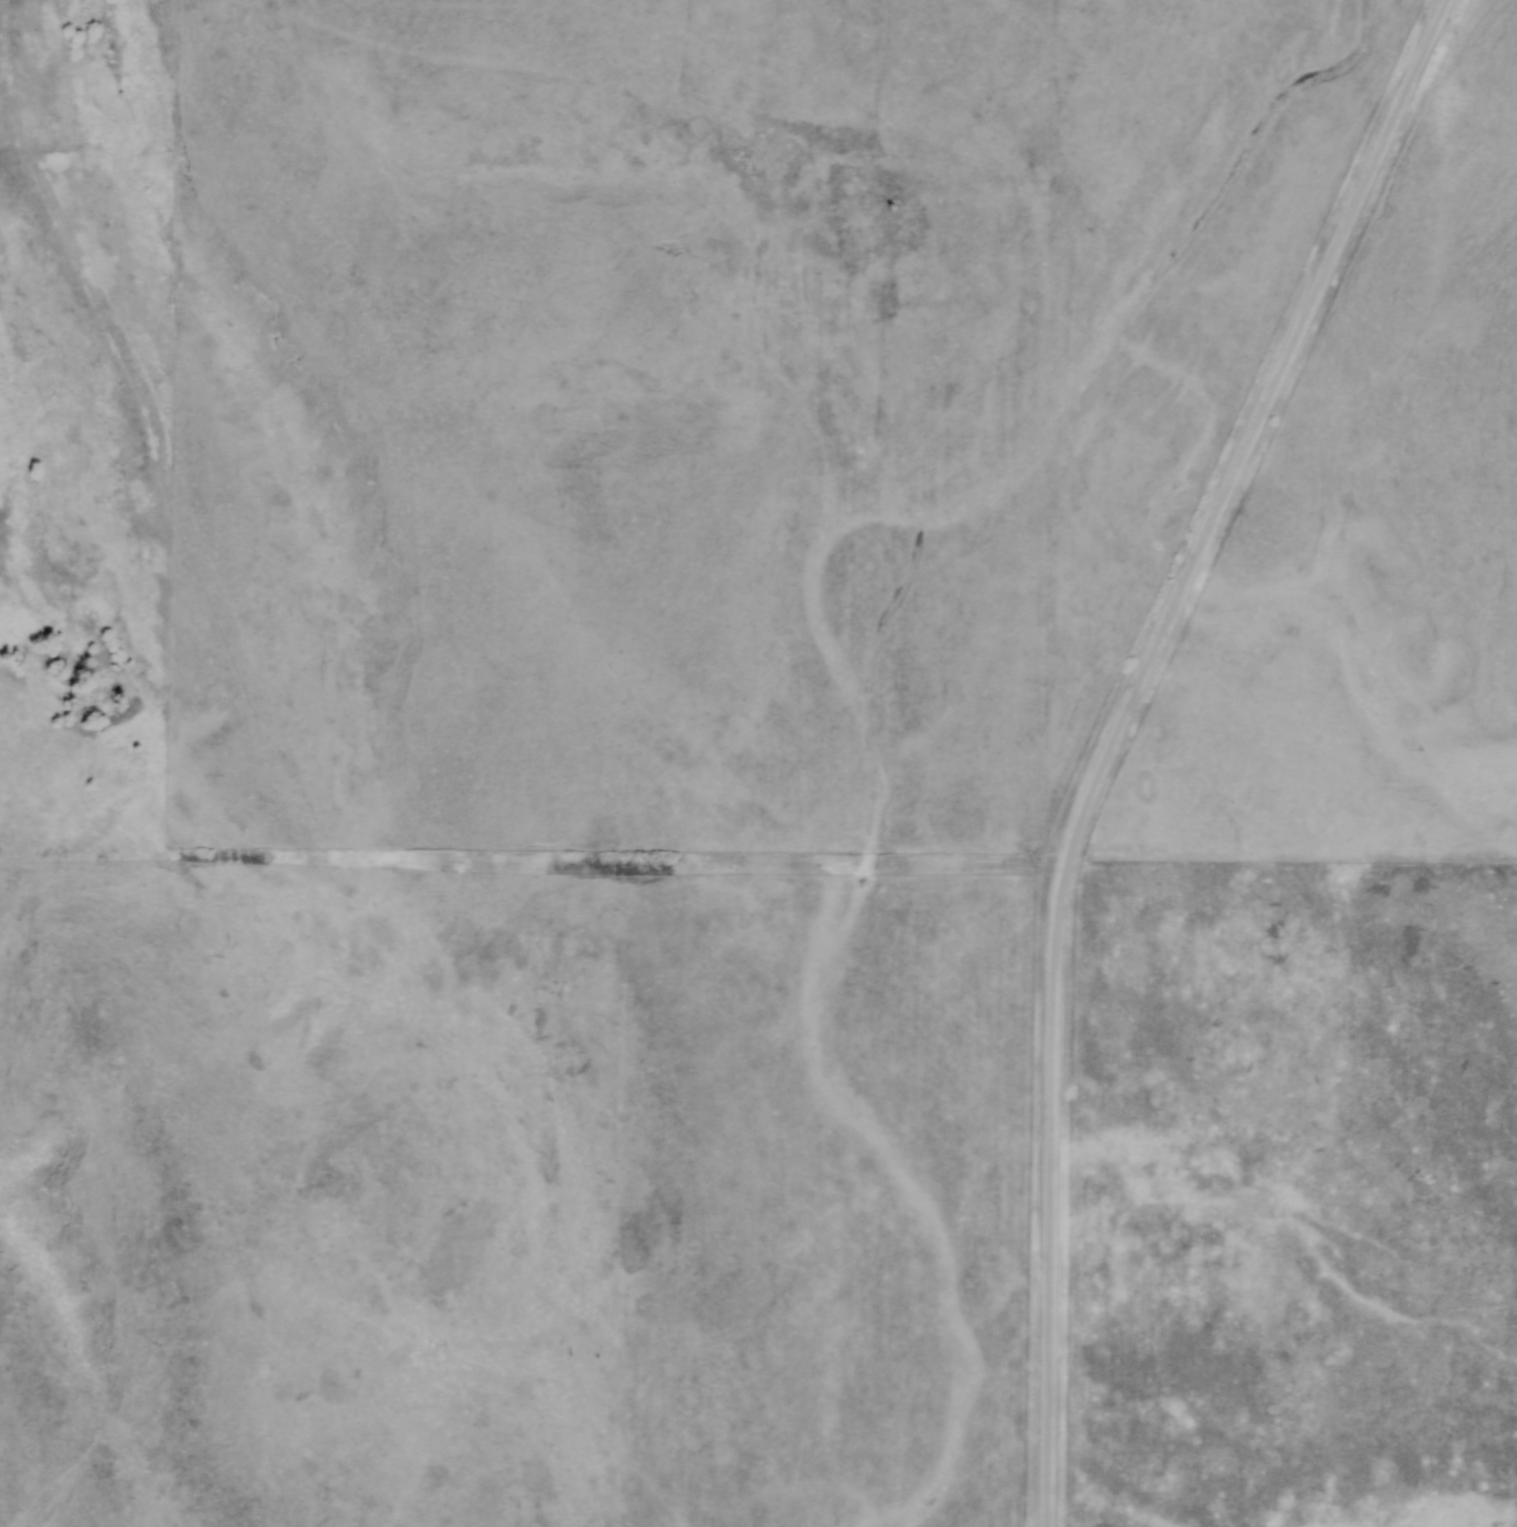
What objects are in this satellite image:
road: (1113, 733)

